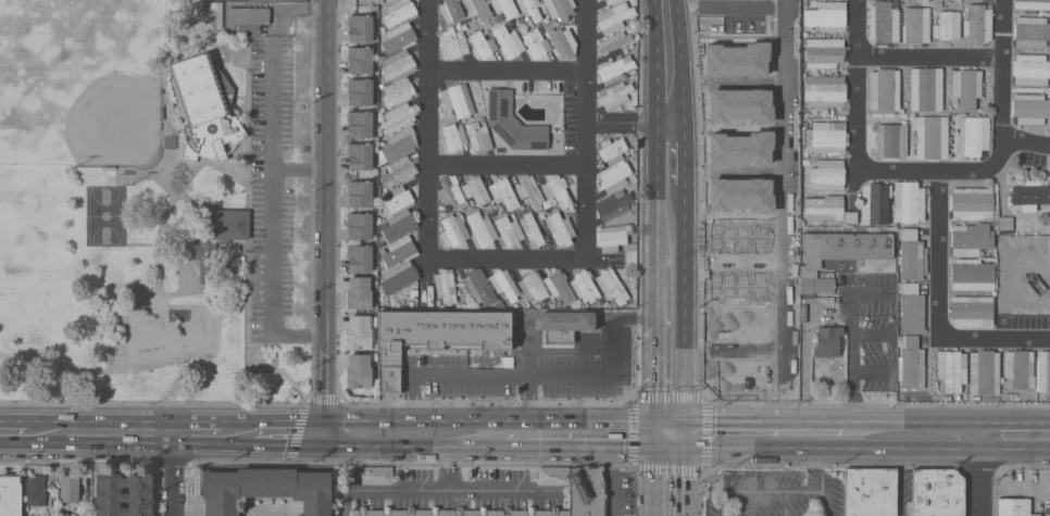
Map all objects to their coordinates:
building: (388, 0)
building: (610, 1)
building: (1032, 3)
road: (263, 4)
building: (504, 7)
building: (530, 8)
building: (560, 8)
building: (478, 9)
building: (450, 10)
building: (399, 11)
building: (826, 15)
building: (249, 16)
building: (614, 16)
building: (884, 22)
building: (978, 23)
building: (362, 24)
building: (916, 25)
building: (947, 25)
building: (1030, 30)
road: (668, 34)
building: (399, 37)
building: (508, 41)
building: (562, 41)
building: (613, 41)
building: (451, 43)
building: (535, 43)
building: (482, 45)
building: (1049, 47)
building: (824, 51)
building: (360, 60)
road: (929, 61)
building: (398, 64)
road: (508, 67)
building: (614, 68)
building: (1030, 68)
road: (1007, 71)
building: (966, 86)
building: (884, 88)
building: (925, 88)
building: (824, 89)
building: (397, 90)
building: (360, 91)
building: (614, 93)
road: (671, 97)
building: (457, 100)
road: (852, 103)
building: (205, 106)
building: (1029, 108)
building: (398, 117)
building: (513, 123)
building: (361, 124)
road: (628, 124)
road: (427, 130)
building: (478, 135)
building: (973, 135)
building: (828, 136)
building: (453, 137)
building: (932, 137)
building: (891, 139)
building: (399, 142)
building: (612, 150)
road: (684, 151)
building: (359, 155)
road: (507, 161)
building: (399, 171)
road: (958, 172)
road: (325, 173)
building: (742, 173)
building: (827, 174)
building: (615, 176)
road: (658, 187)
building: (475, 189)
road: (786, 189)
building: (557, 190)
building: (450, 191)
building: (530, 191)
building: (503, 192)
building: (359, 193)
building: (1027, 193)
building: (398, 197)
road: (585, 201)
building: (908, 201)
building: (972, 202)
road: (267, 203)
building: (875, 203)
building: (613, 204)
building: (824, 206)
building: (850, 217)
building: (738, 218)
building: (398, 224)
building: (1005, 224)
building: (359, 226)
building: (482, 228)
building: (561, 228)
building: (532, 229)
building: (453, 230)
building: (508, 230)
building: (216, 236)
building: (614, 237)
building: (971, 238)
building: (399, 250)
building: (838, 254)
building: (910, 254)
building: (359, 257)
building: (232, 268)
building: (972, 274)
building: (399, 276)
petroleum well: (1034, 280)
building: (504, 284)
building: (446, 285)
road: (658, 285)
building: (478, 286)
building: (533, 286)
building: (559, 286)
building: (612, 286)
building: (584, 287)
building: (737, 291)
building: (358, 292)
road: (683, 301)
building: (911, 306)
building: (972, 310)
road: (938, 311)
road: (647, 315)
road: (526, 317)
building: (565, 323)
road: (577, 323)
building: (358, 330)
road: (850, 338)
building: (827, 341)
building: (430, 342)
building: (564, 345)
building: (510, 353)
road: (616, 361)
building: (910, 362)
road: (657, 367)
building: (588, 368)
building: (951, 368)
building: (1020, 368)
building: (358, 370)
building: (1043, 372)
building: (984, 374)
road: (545, 381)
road: (464, 382)
road: (325, 389)
road: (399, 406)
road: (525, 407)
road: (500, 418)
traffic signals: (657, 419)
road: (668, 419)
traffic signals: (682, 419)
road: (729, 420)
road: (814, 421)
road: (916, 421)
road: (1016, 421)
road: (335, 425)
road: (13, 430)
road: (290, 431)
road: (104, 432)
road: (239, 432)
road: (202, 433)
road: (657, 433)
road: (682, 433)
road: (984, 436)
road: (336, 439)
road: (425, 446)
road: (579, 448)
traffic signals: (657, 448)
road: (668, 448)
traffic signals: (682, 448)
road: (832, 449)
road: (1016, 450)
road: (448, 468)
road: (820, 470)
road: (182, 475)
building: (376, 475)
building: (552, 476)
road: (614, 481)
road: (657, 481)
road: (682, 481)
road: (984, 482)
building: (68, 487)
building: (264, 489)
building: (35, 490)
road: (453, 490)
building: (587, 491)
building: (871, 492)
building: (937, 492)
building: (11, 494)
building: (124, 494)
road: (343, 502)
road: (820, 504)
building: (1013, 506)
building: (457, 512)
building: (1036, 514)

